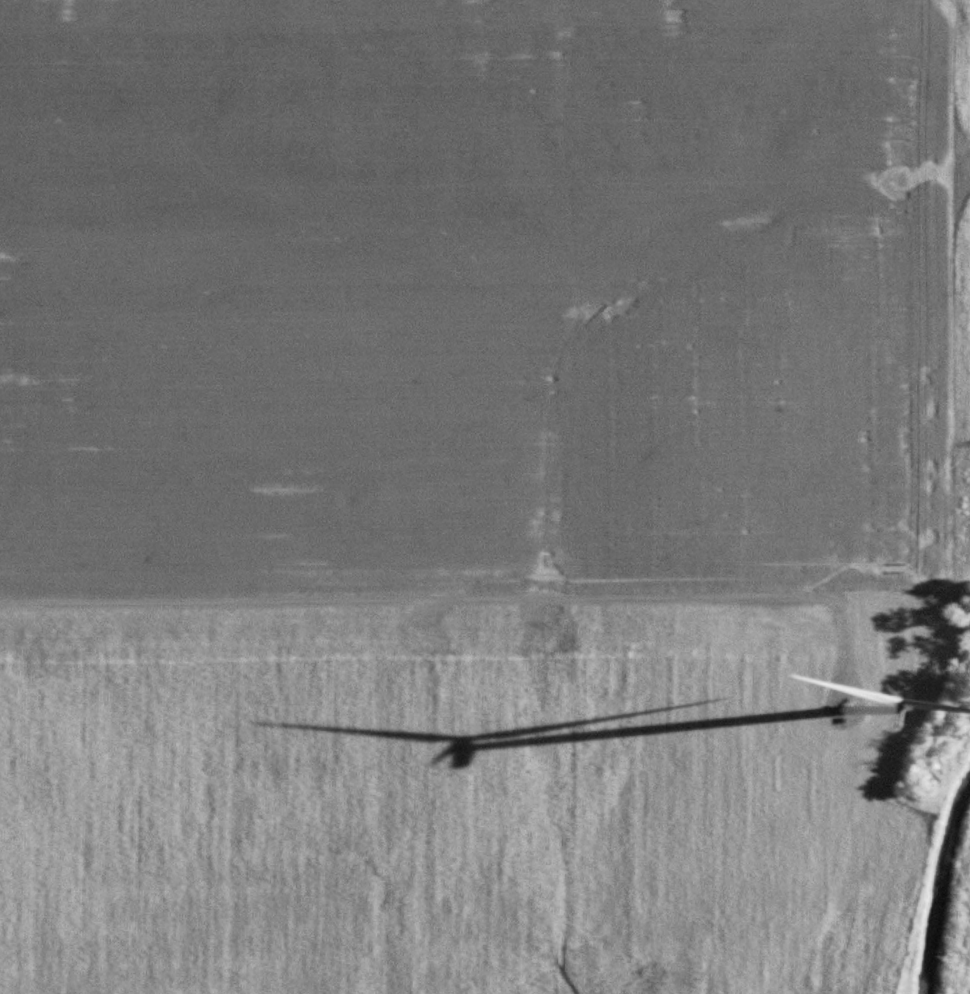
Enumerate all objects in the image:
road: (454, 590)
wind turbine: (866, 681)
river: (938, 878)

